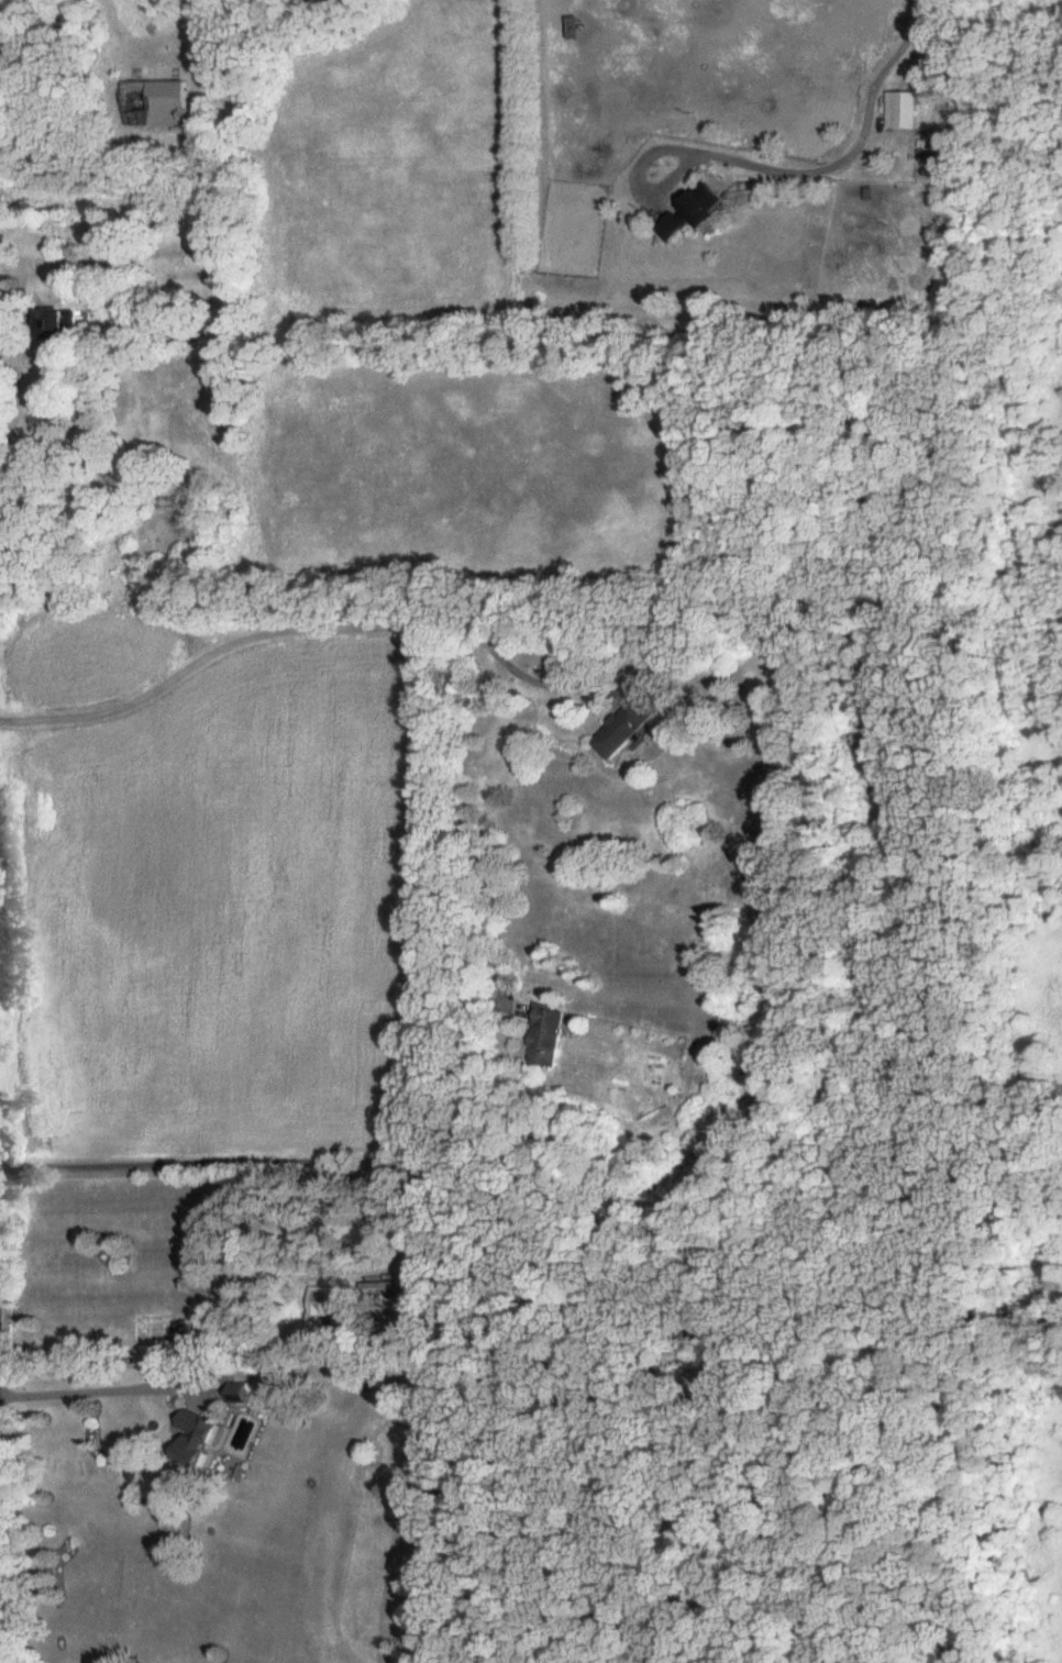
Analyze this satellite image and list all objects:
building: (157, 104)
building: (905, 112)
road: (850, 151)
building: (697, 214)
building: (60, 328)
building: (627, 730)
building: (549, 1036)
building: (332, 1313)
road: (158, 1388)
building: (243, 1395)
building: (198, 1440)

